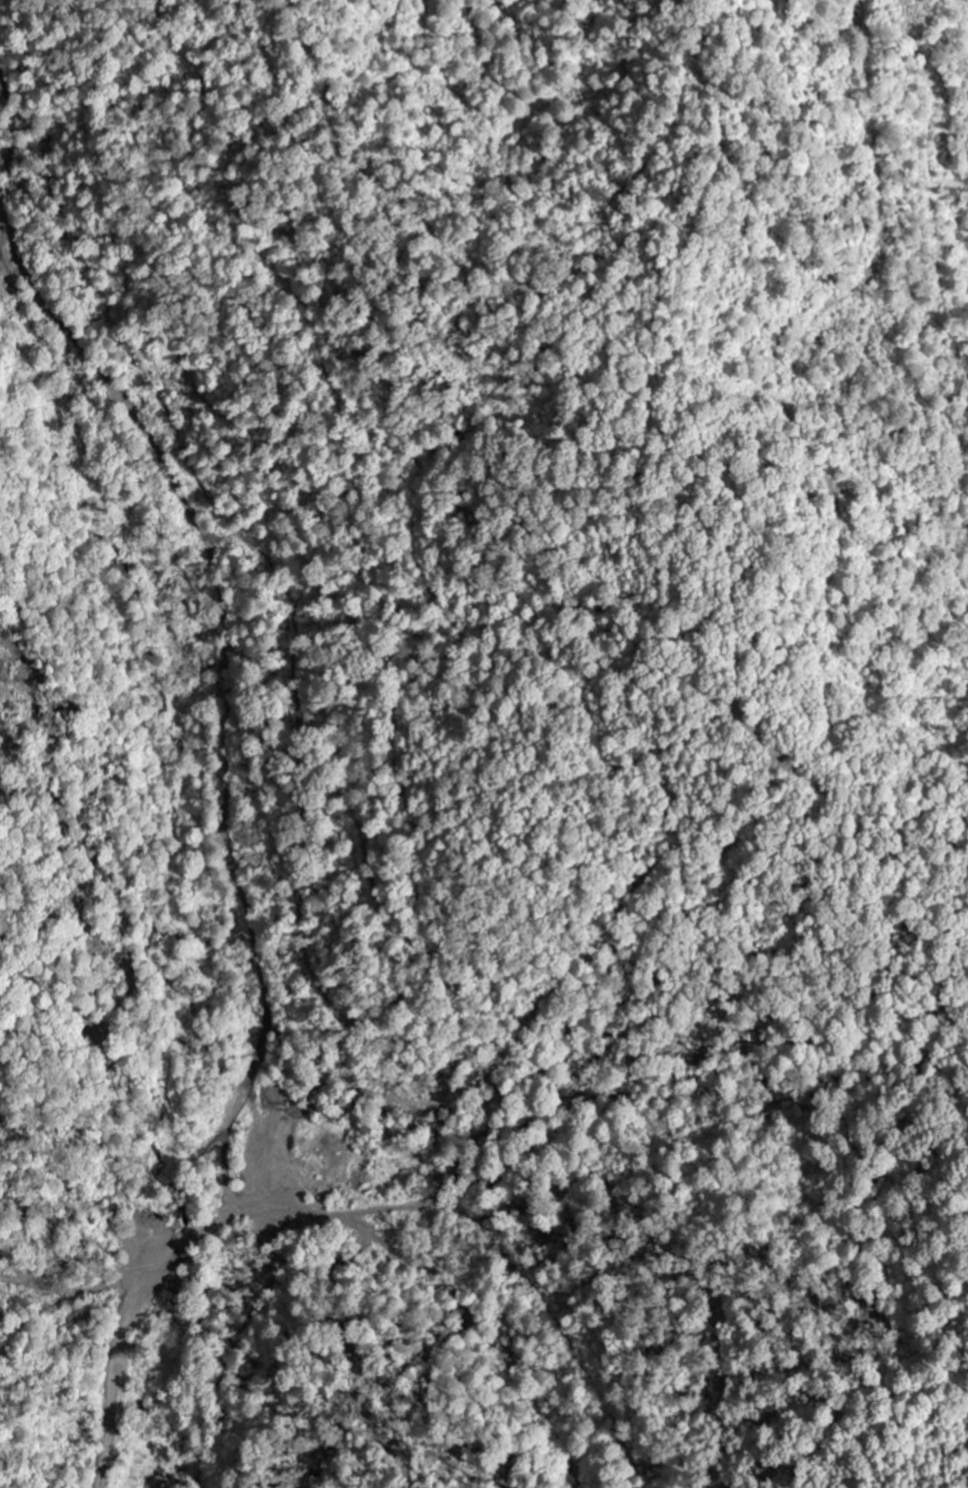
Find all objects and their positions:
road: (165, 404)

